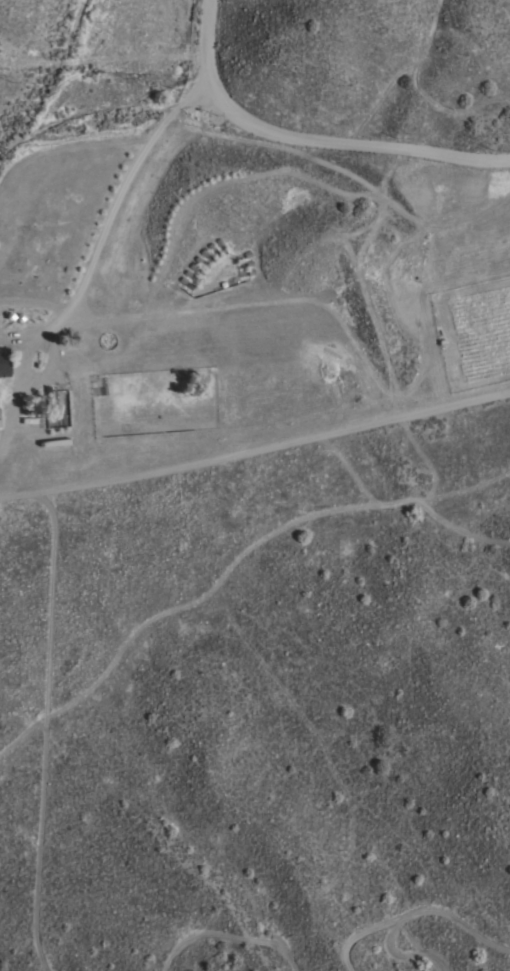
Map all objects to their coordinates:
road: (202, 48)
road: (354, 144)
road: (90, 251)
road: (31, 304)
building: (2, 363)
building: (50, 400)
road: (256, 453)

